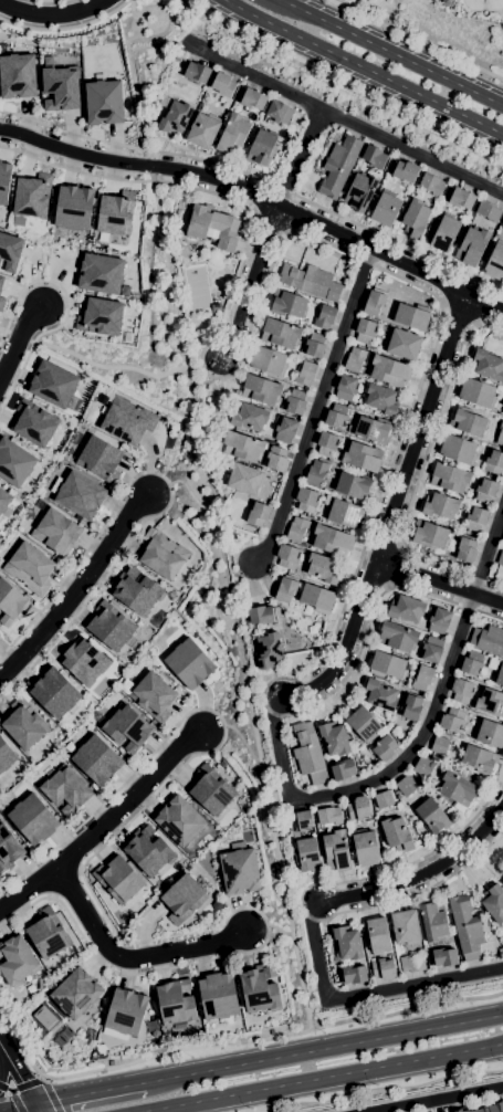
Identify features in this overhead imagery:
road: (50, 1)
building: (448, 2)
road: (50, 14)
road: (66, 28)
road: (420, 39)
road: (166, 46)
road: (390, 53)
road: (363, 69)
building: (197, 73)
building: (17, 76)
road: (263, 77)
road: (340, 84)
building: (223, 85)
building: (61, 88)
building: (253, 99)
building: (104, 103)
building: (279, 113)
building: (175, 118)
building: (203, 130)
building: (233, 135)
road: (413, 147)
building: (262, 148)
road: (137, 149)
road: (303, 156)
building: (374, 157)
building: (339, 167)
road: (72, 170)
building: (405, 171)
building: (4, 181)
building: (432, 185)
building: (396, 187)
building: (360, 192)
building: (32, 197)
road: (259, 198)
building: (461, 199)
building: (72, 207)
building: (386, 209)
building: (488, 211)
building: (114, 213)
building: (416, 219)
building: (211, 227)
building: (502, 228)
building: (443, 233)
road: (388, 241)
building: (472, 246)
building: (8, 253)
building: (216, 259)
building: (495, 262)
building: (99, 273)
building: (1, 280)
road: (400, 280)
building: (311, 282)
road: (251, 284)
building: (1, 302)
building: (374, 303)
building: (287, 304)
road: (63, 308)
building: (411, 316)
building: (325, 317)
building: (103, 318)
road: (460, 319)
building: (365, 332)
building: (280, 334)
road: (14, 339)
building: (402, 345)
building: (315, 346)
building: (355, 359)
road: (201, 360)
building: (268, 361)
road: (94, 365)
building: (488, 365)
building: (389, 371)
building: (306, 375)
building: (52, 385)
road: (207, 385)
building: (346, 388)
building: (261, 390)
building: (478, 394)
building: (381, 399)
building: (295, 402)
road: (316, 405)
building: (502, 412)
road: (224, 416)
building: (249, 417)
building: (336, 417)
building: (127, 421)
road: (438, 421)
building: (468, 422)
building: (32, 423)
building: (371, 429)
building: (285, 430)
road: (423, 430)
building: (500, 436)
building: (326, 444)
building: (242, 447)
building: (458, 450)
building: (361, 457)
building: (99, 460)
building: (276, 460)
building: (14, 463)
building: (494, 463)
building: (316, 472)
road: (210, 478)
building: (449, 479)
building: (245, 480)
building: (353, 486)
road: (186, 487)
building: (485, 491)
road: (171, 492)
building: (80, 496)
building: (4, 501)
building: (306, 501)
building: (440, 506)
building: (343, 513)
building: (258, 515)
building: (475, 520)
road: (370, 525)
building: (296, 529)
building: (56, 532)
building: (430, 535)
building: (332, 541)
building: (451, 545)
building: (465, 550)
building: (163, 555)
building: (286, 557)
building: (500, 558)
road: (491, 563)
road: (433, 565)
building: (30, 568)
building: (324, 569)
road: (441, 584)
road: (486, 584)
building: (285, 590)
road: (76, 592)
building: (137, 592)
road: (423, 592)
building: (316, 599)
building: (10, 604)
building: (406, 609)
road: (481, 613)
building: (261, 615)
building: (439, 621)
building: (111, 627)
building: (398, 637)
building: (488, 640)
road: (350, 649)
building: (432, 650)
building: (269, 651)
building: (84, 662)
building: (189, 663)
building: (472, 663)
building: (387, 665)
building: (499, 674)
road: (347, 675)
building: (422, 678)
building: (461, 692)
building: (54, 694)
building: (150, 695)
building: (380, 695)
building: (490, 702)
building: (412, 709)
building: (452, 721)
building: (23, 724)
building: (364, 724)
building: (127, 727)
building: (490, 734)
building: (335, 739)
building: (439, 745)
building: (385, 748)
building: (308, 754)
building: (6, 756)
building: (96, 760)
building: (479, 760)
building: (423, 768)
building: (343, 770)
road: (387, 775)
building: (406, 786)
building: (65, 789)
building: (457, 789)
building: (212, 790)
building: (384, 800)
building: (358, 809)
building: (329, 816)
building: (432, 817)
building: (32, 820)
building: (180, 821)
building: (301, 821)
road: (106, 830)
building: (397, 835)
building: (365, 848)
building: (9, 849)
building: (336, 851)
building: (148, 852)
building: (306, 856)
road: (409, 863)
road: (419, 870)
building: (240, 872)
building: (118, 880)
building: (502, 883)
road: (410, 894)
road: (95, 899)
building: (182, 900)
building: (494, 903)
building: (433, 922)
building: (467, 927)
building: (406, 929)
building: (48, 934)
building: (377, 935)
building: (347, 943)
building: (444, 957)
road: (134, 958)
building: (17, 961)
building: (412, 964)
building: (383, 969)
building: (354, 975)
building: (260, 990)
road: (365, 990)
building: (75, 994)
building: (218, 996)
building: (153, 1001)
building: (175, 1004)
building: (125, 1013)
building: (271, 1032)
building: (156, 1035)
road: (232, 1043)
road: (323, 1049)
road: (0, 1058)
road: (19, 1078)
road: (326, 1078)
road: (22, 1087)
road: (386, 1090)
road: (88, 1093)
road: (51, 1094)
road: (444, 1101)
traffic signals: (34, 1104)
road: (17, 1106)
building: (490, 1106)
building: (460, 1110)

